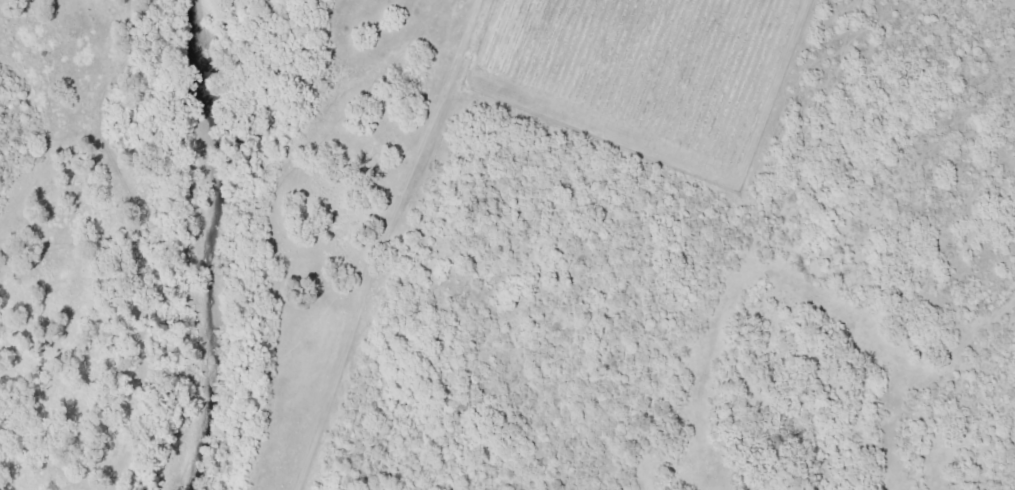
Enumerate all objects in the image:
road: (393, 246)

